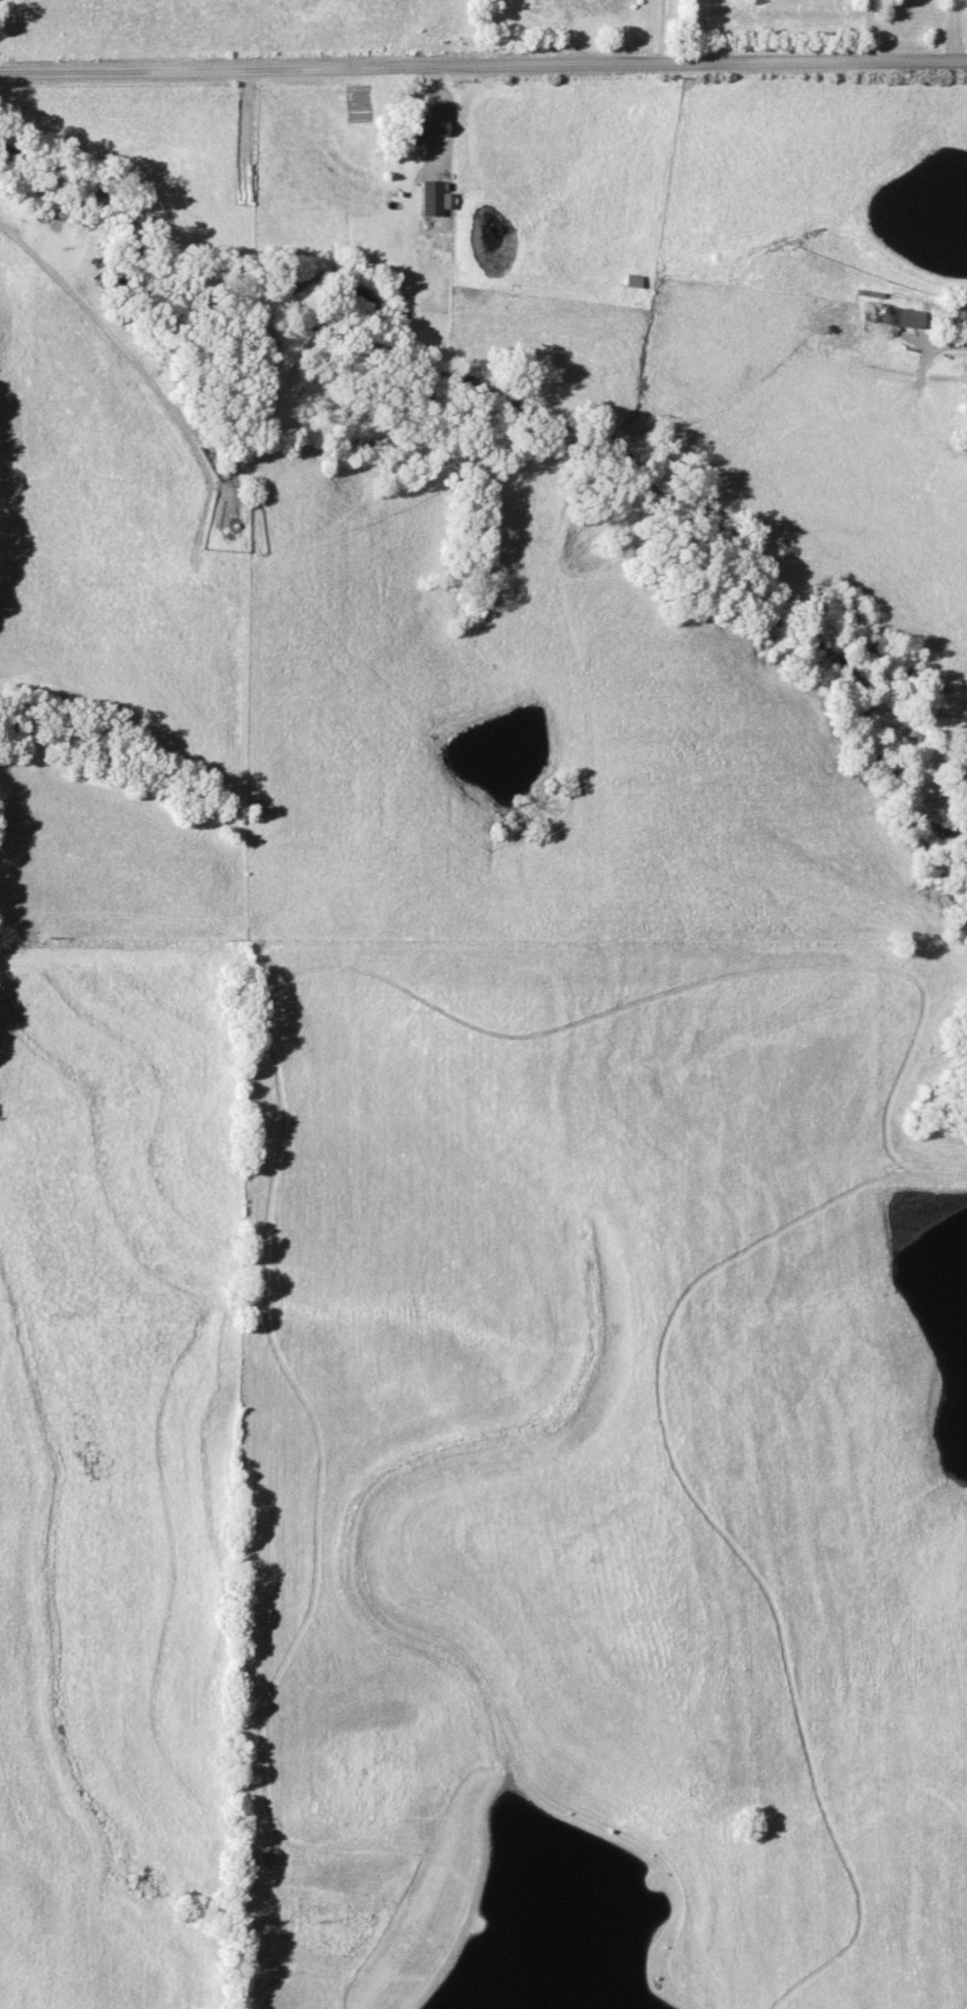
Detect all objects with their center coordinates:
road: (865, 31)
road: (949, 31)
road: (656, 32)
road: (483, 63)
building: (428, 122)
building: (429, 197)
building: (629, 279)
building: (901, 317)
road: (947, 342)
road: (116, 346)

